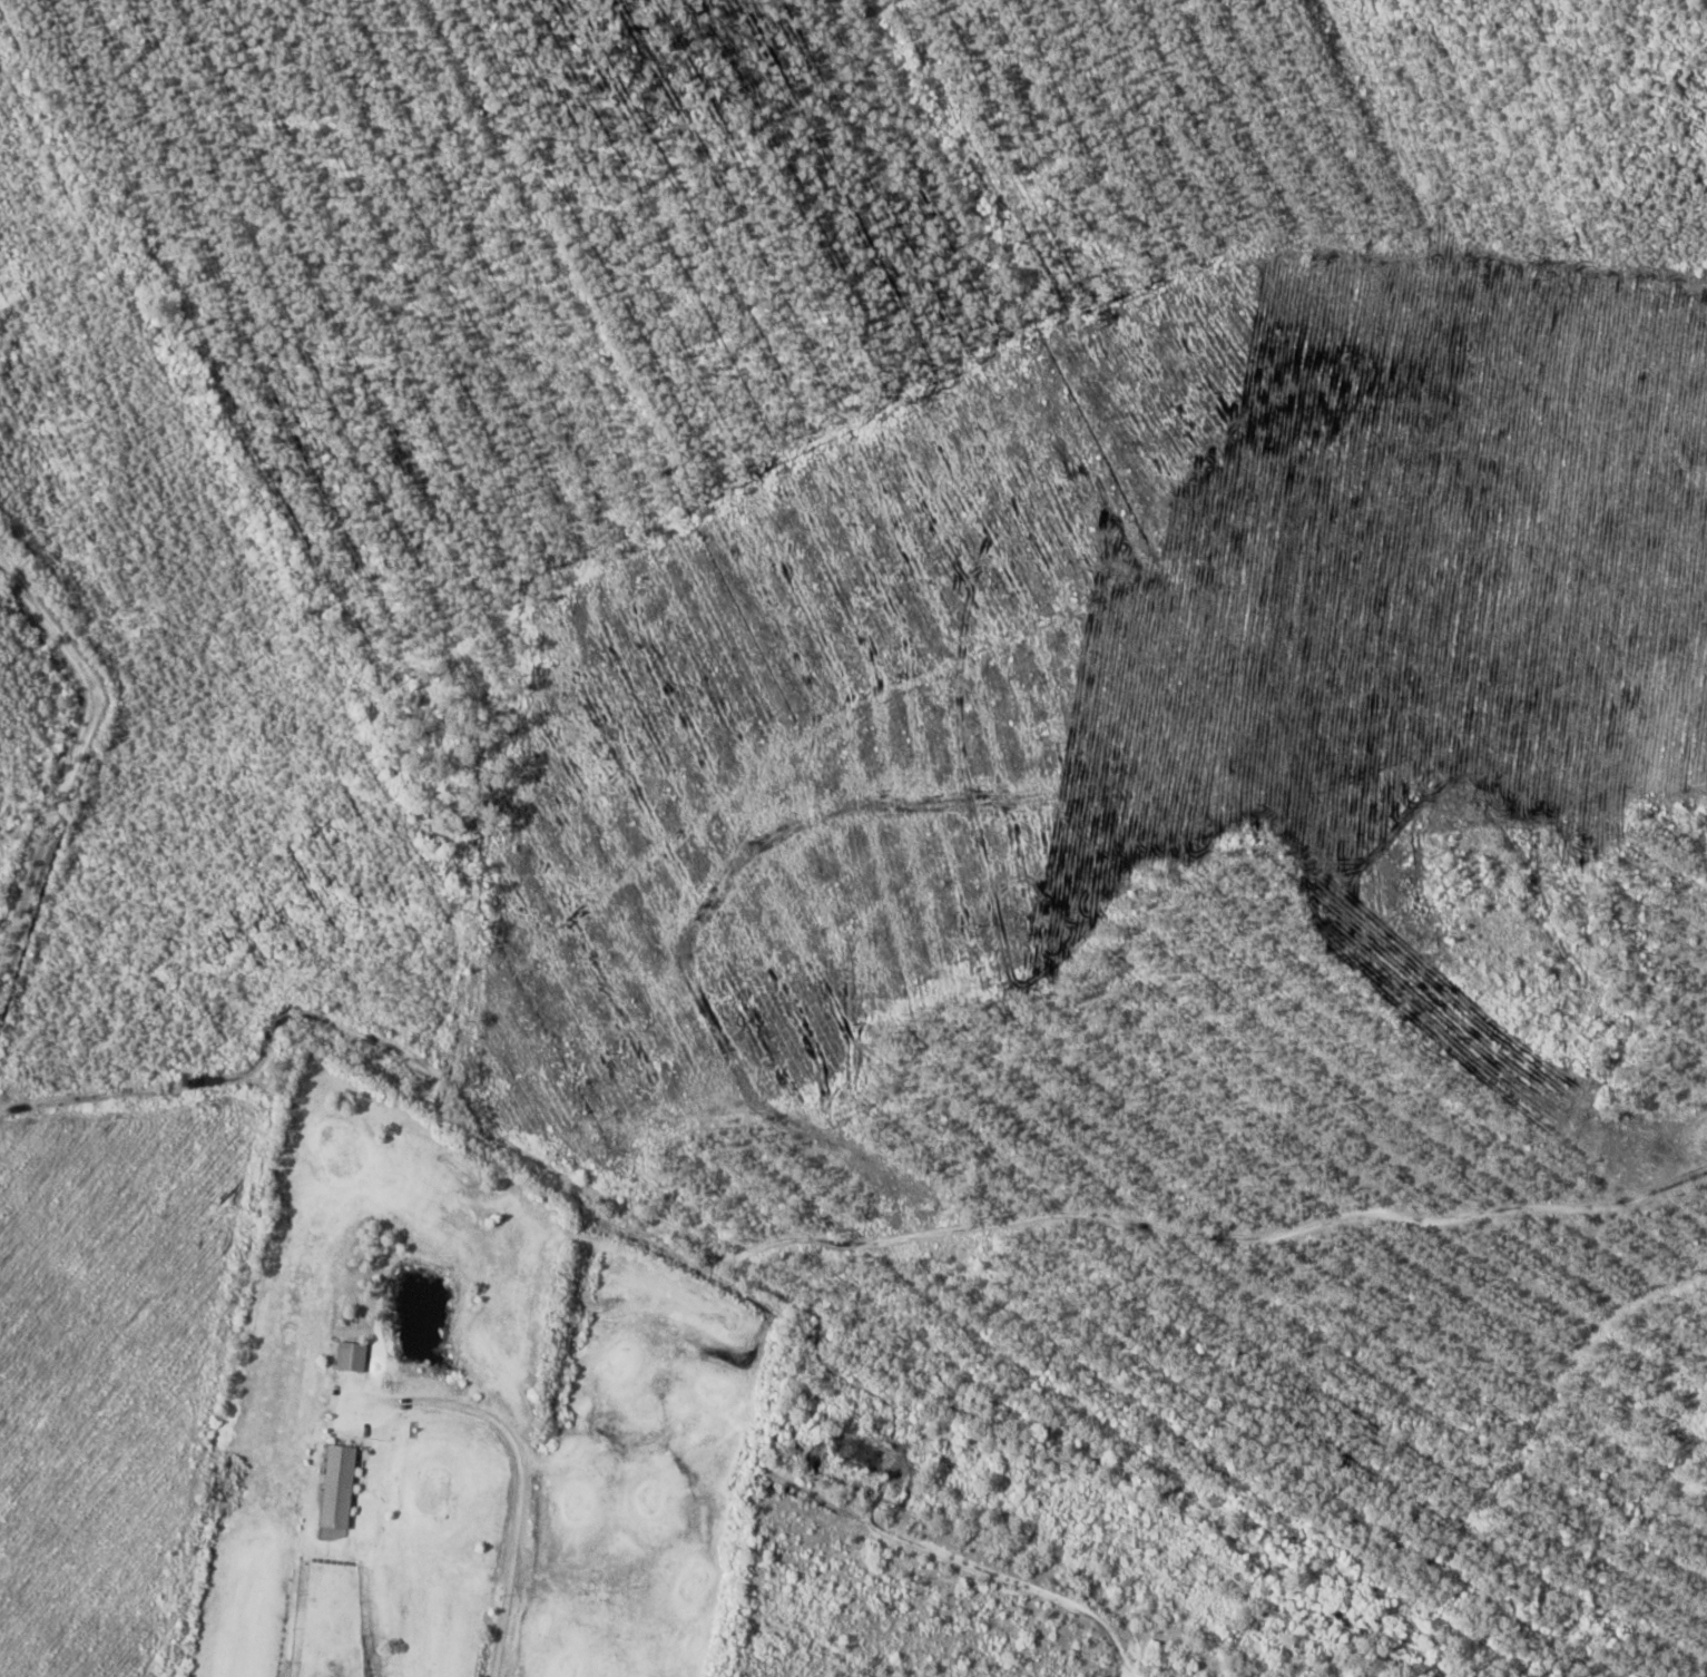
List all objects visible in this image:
road: (65, 753)
road: (799, 1242)
building: (353, 1357)
road: (528, 1467)
building: (340, 1489)

